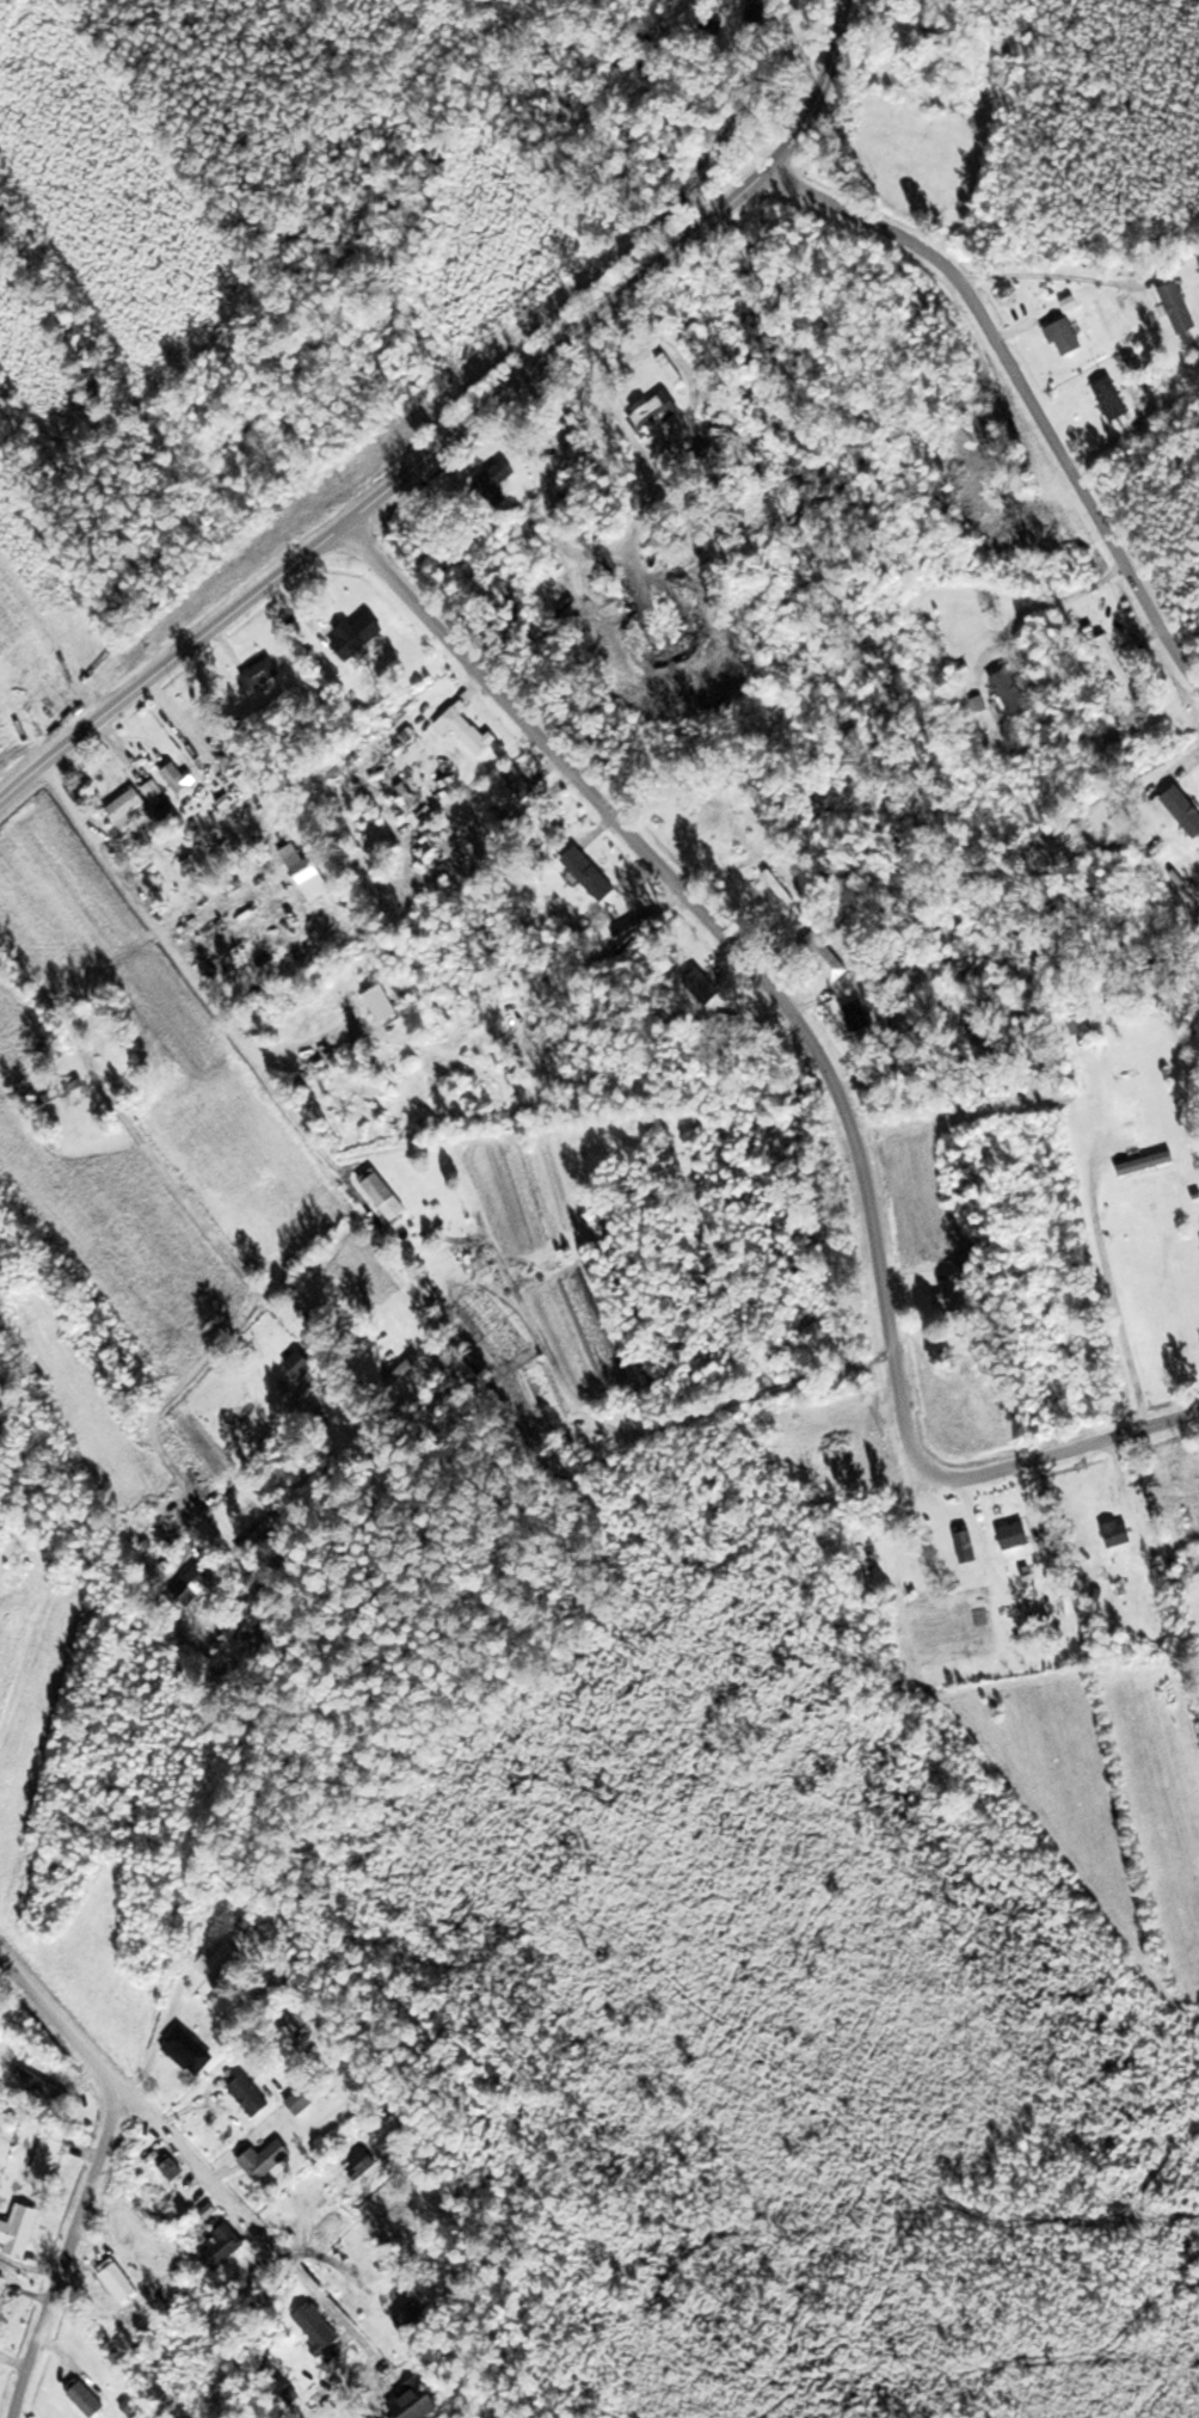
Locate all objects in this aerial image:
building: (764, 8)
building: (941, 33)
building: (1181, 307)
building: (1071, 336)
building: (672, 368)
road: (1021, 391)
building: (1114, 399)
building: (658, 412)
road: (462, 432)
building: (499, 477)
building: (361, 634)
building: (264, 673)
building: (1015, 694)
building: (468, 728)
building: (180, 780)
building: (527, 788)
building: (135, 804)
building: (1178, 806)
building: (743, 834)
building: (592, 871)
building: (312, 873)
building: (828, 956)
road: (193, 975)
building: (707, 987)
building: (863, 1015)
building: (1086, 1019)
road: (820, 1056)
building: (1150, 1162)
building: (386, 1195)
road: (205, 1225)
building: (486, 1268)
building: (955, 1295)
building: (305, 1363)
building: (410, 1366)
building: (315, 1391)
building: (247, 1413)
building: (1121, 1535)
building: (1017, 1536)
building: (154, 1539)
building: (970, 1545)
building: (196, 1584)
building: (1043, 1620)
building: (229, 1962)
building: (193, 2050)
building: (44, 2083)
building: (253, 2095)
building: (306, 2101)
building: (51, 2154)
building: (269, 2160)
building: (365, 2165)
building: (174, 2168)
road: (98, 2171)
building: (148, 2179)
road: (223, 2190)
building: (21, 2230)
building: (227, 2245)
building: (122, 2282)
building: (4, 2291)
building: (416, 2316)
building: (322, 2333)
building: (90, 2399)
building: (417, 2401)

